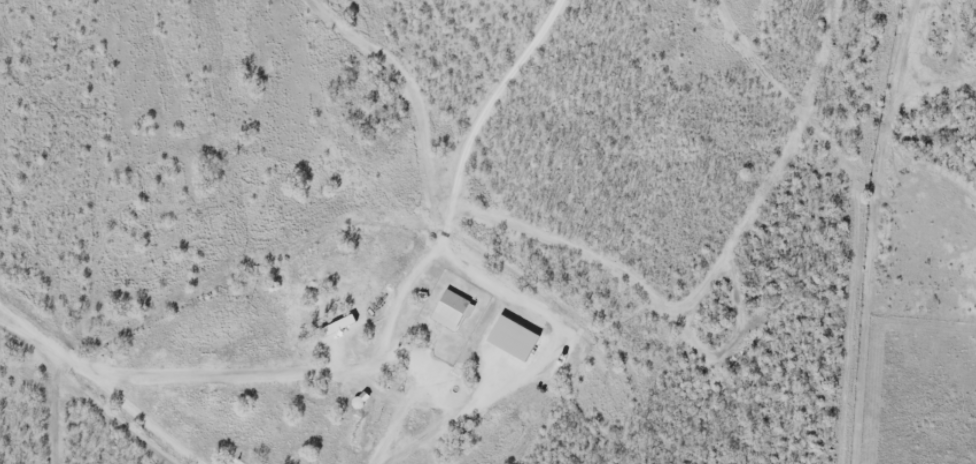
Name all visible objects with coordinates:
building: (451, 309)
road: (319, 376)
road: (101, 383)

